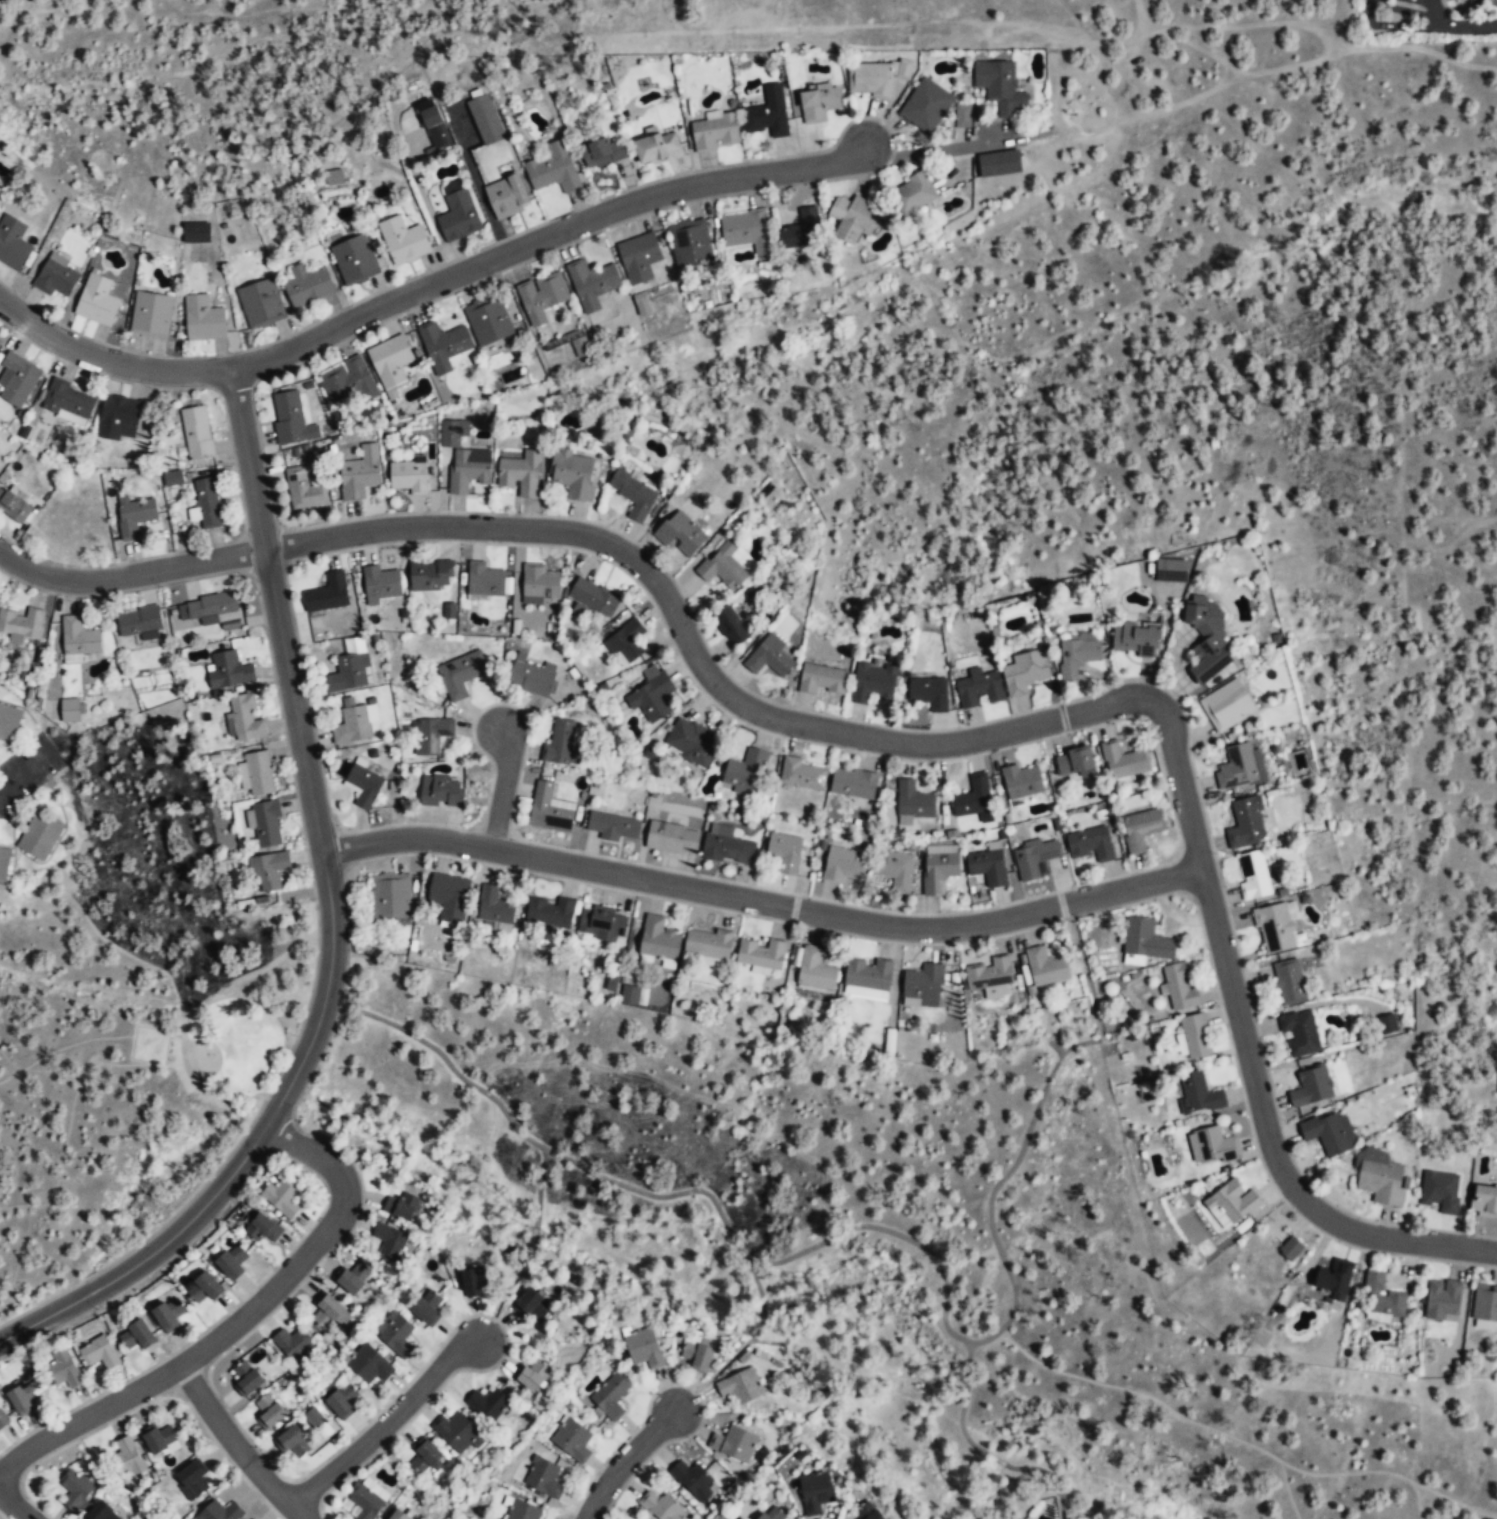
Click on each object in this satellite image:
building: (1475, 4)
road: (1435, 13)
road: (1373, 14)
road: (1469, 26)
building: (869, 80)
building: (1002, 89)
building: (818, 101)
building: (726, 102)
building: (926, 107)
building: (767, 114)
building: (961, 116)
building: (485, 121)
building: (434, 124)
building: (714, 132)
building: (657, 148)
road: (938, 149)
building: (605, 152)
building: (999, 163)
building: (553, 169)
building: (333, 178)
building: (914, 193)
building: (507, 196)
building: (457, 213)
building: (851, 219)
building: (743, 230)
building: (802, 231)
building: (194, 232)
road: (541, 238)
building: (403, 240)
building: (12, 243)
building: (691, 244)
building: (639, 258)
building: (354, 260)
building: (56, 277)
building: (592, 284)
building: (308, 286)
building: (541, 298)
building: (99, 300)
building: (640, 303)
building: (260, 304)
building: (151, 316)
building: (203, 320)
building: (465, 334)
building: (580, 346)
road: (109, 361)
building: (390, 361)
building: (17, 380)
building: (346, 382)
building: (68, 403)
building: (119, 418)
building: (291, 420)
building: (451, 432)
building: (197, 433)
road: (249, 460)
building: (467, 470)
building: (360, 474)
building: (521, 474)
building: (573, 475)
building: (172, 477)
building: (409, 477)
building: (303, 490)
building: (632, 495)
building: (206, 502)
building: (13, 507)
building: (134, 516)
building: (69, 523)
building: (680, 534)
building: (724, 569)
building: (1171, 571)
road: (129, 575)
building: (431, 575)
building: (484, 579)
building: (540, 580)
building: (381, 582)
building: (327, 593)
building: (593, 597)
building: (206, 608)
building: (138, 622)
building: (22, 623)
building: (730, 628)
building: (1205, 638)
building: (78, 639)
building: (1135, 640)
building: (626, 643)
road: (696, 652)
building: (1076, 657)
building: (769, 658)
building: (228, 670)
building: (1023, 671)
building: (347, 674)
building: (461, 675)
building: (530, 678)
building: (822, 681)
building: (873, 684)
building: (978, 689)
building: (928, 693)
building: (652, 696)
building: (1227, 704)
building: (70, 709)
building: (244, 718)
building: (9, 722)
building: (352, 726)
building: (430, 735)
building: (691, 742)
building: (561, 744)
building: (1074, 759)
building: (1123, 760)
building: (1236, 767)
road: (26, 772)
building: (258, 773)
building: (746, 773)
building: (800, 773)
building: (1021, 780)
building: (853, 784)
building: (364, 785)
road: (502, 786)
building: (441, 792)
building: (972, 799)
building: (913, 802)
building: (548, 812)
building: (1246, 821)
building: (265, 823)
building: (613, 827)
building: (1141, 827)
building: (39, 837)
building: (672, 839)
building: (1091, 845)
building: (727, 847)
building: (784, 850)
building: (1033, 857)
building: (842, 863)
building: (4, 864)
building: (987, 865)
building: (894, 870)
building: (269, 871)
building: (938, 872)
building: (1254, 875)
building: (391, 895)
building: (449, 897)
road: (763, 901)
building: (494, 907)
building: (550, 913)
building: (602, 922)
building: (1274, 926)
building: (1146, 939)
building: (658, 941)
building: (708, 944)
building: (761, 955)
building: (1045, 968)
building: (840, 974)
building: (988, 976)
building: (1289, 981)
building: (921, 985)
building: (1179, 985)
building: (633, 994)
road: (319, 1014)
building: (1386, 1023)
building: (1300, 1032)
building: (1195, 1034)
street lamp: (295, 1035)
park: (238, 1045)
road: (1249, 1049)
park: (201, 1059)
road: (281, 1067)
building: (1311, 1085)
building: (1200, 1091)
building: (1326, 1132)
building: (1214, 1143)
building: (1381, 1178)
building: (1440, 1191)
building: (281, 1199)
building: (1233, 1199)
building: (1484, 1202)
building: (403, 1206)
park: (800, 1209)
building: (265, 1230)
road: (887, 1230)
building: (389, 1242)
building: (1266, 1253)
road: (967, 1260)
building: (231, 1263)
building: (1336, 1275)
building: (352, 1278)
building: (472, 1283)
building: (204, 1288)
building: (1382, 1296)
building: (1442, 1298)
building: (1485, 1301)
building: (533, 1303)
building: (426, 1306)
building: (329, 1313)
building: (168, 1315)
road: (235, 1323)
building: (136, 1336)
building: (396, 1336)
building: (294, 1346)
building: (643, 1349)
building: (99, 1354)
building: (696, 1356)
building: (368, 1365)
building: (63, 1370)
building: (532, 1376)
building: (246, 1379)
building: (739, 1387)
building: (609, 1395)
building: (22, 1399)
building: (341, 1400)
building: (488, 1405)
building: (269, 1413)
building: (0, 1422)
road: (383, 1422)
building: (318, 1424)
road: (1203, 1424)
building: (455, 1433)
building: (159, 1440)
building: (572, 1440)
building: (293, 1442)
road: (237, 1445)
building: (733, 1445)
road: (982, 1451)
building: (128, 1458)
building: (427, 1458)
road: (625, 1462)
building: (543, 1477)
building: (191, 1479)
building: (692, 1480)
building: (74, 1489)
building: (815, 1493)
road: (1457, 1501)
building: (366, 1503)
road: (15, 1505)
building: (660, 1506)
building: (523, 1510)
building: (220, 1511)
building: (103, 1512)
building: (868, 1512)
building: (773, 1514)
building: (401, 1515)

